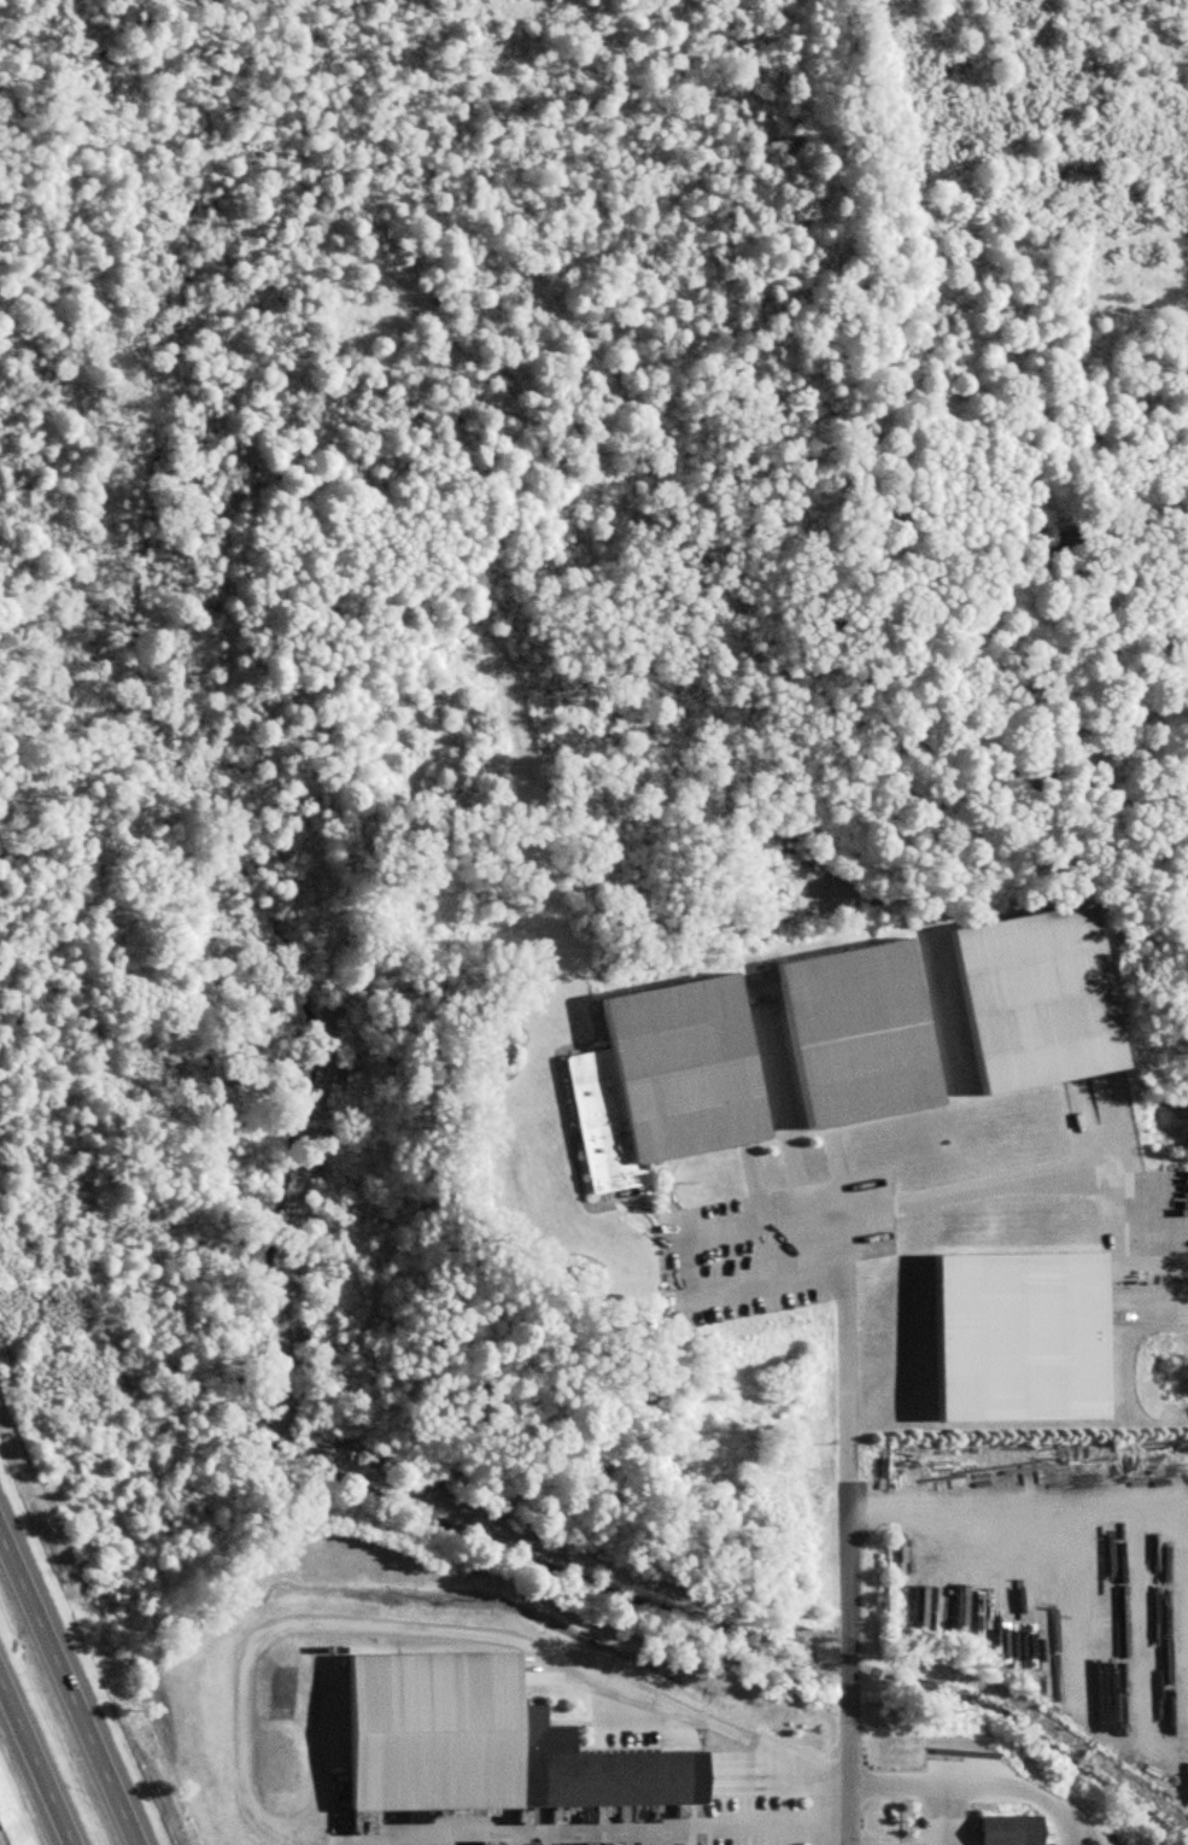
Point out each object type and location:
building: (1029, 994)
building: (852, 1029)
building: (678, 1065)
road: (783, 1110)
road: (679, 1255)
road: (841, 1319)
building: (1013, 1333)
road: (1017, 1511)
road: (66, 1692)
road: (240, 1710)
building: (478, 1744)
road: (36, 1763)
road: (848, 1775)
road: (932, 1791)
building: (995, 1823)

